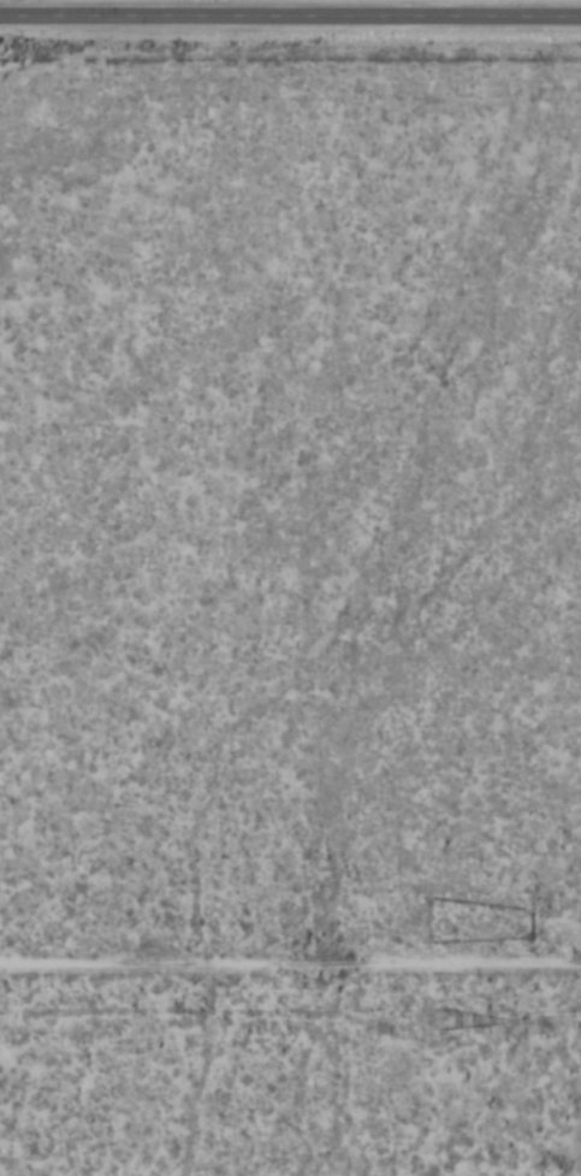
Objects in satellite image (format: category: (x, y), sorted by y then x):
road: (290, 14)
power tower: (444, 922)
power tower: (441, 1023)

